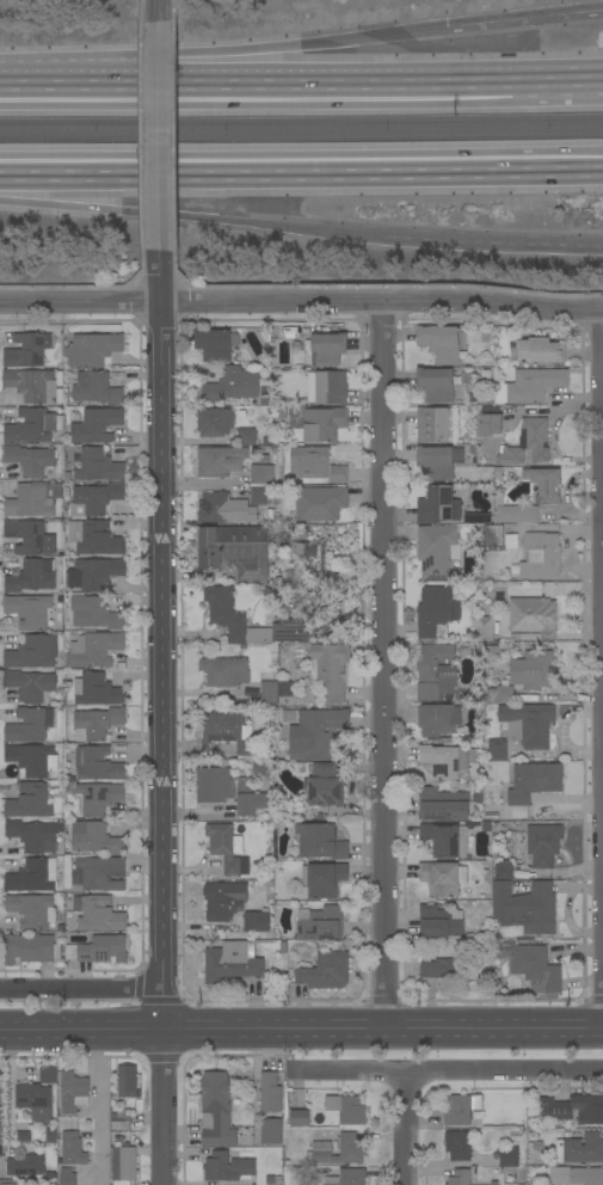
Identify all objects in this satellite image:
road: (160, 12)
road: (525, 18)
traffic signals: (448, 27)
road: (277, 47)
road: (559, 69)
road: (313, 73)
road: (55, 75)
railway: (301, 122)
railway: (301, 136)
road: (161, 139)
road: (301, 170)
road: (189, 217)
road: (490, 244)
road: (301, 302)
building: (439, 343)
building: (215, 344)
building: (92, 349)
building: (26, 350)
building: (325, 350)
building: (536, 350)
building: (466, 377)
building: (35, 385)
building: (232, 385)
building: (435, 385)
building: (530, 385)
building: (326, 387)
building: (96, 388)
building: (481, 400)
building: (242, 412)
building: (214, 422)
building: (488, 422)
building: (322, 423)
building: (96, 424)
building: (431, 424)
building: (32, 426)
building: (246, 436)
building: (525, 443)
building: (76, 449)
building: (76, 458)
building: (29, 460)
building: (219, 461)
building: (438, 461)
building: (308, 462)
building: (98, 466)
building: (266, 474)
building: (338, 474)
building: (66, 475)
building: (544, 484)
building: (258, 495)
building: (33, 499)
building: (93, 499)
building: (319, 503)
building: (437, 505)
building: (217, 508)
building: (516, 512)
building: (265, 518)
building: (511, 533)
building: (493, 535)
building: (27, 536)
building: (93, 538)
building: (229, 545)
building: (437, 551)
building: (312, 555)
building: (540, 555)
building: (252, 571)
building: (98, 572)
building: (31, 576)
building: (74, 579)
building: (548, 588)
building: (435, 610)
building: (31, 612)
building: (224, 612)
building: (94, 613)
building: (533, 616)
building: (484, 628)
building: (290, 631)
building: (258, 636)
road: (162, 643)
building: (93, 650)
building: (31, 652)
road: (382, 668)
building: (330, 669)
building: (432, 669)
building: (531, 669)
building: (224, 671)
building: (31, 686)
building: (284, 688)
building: (97, 690)
building: (248, 692)
building: (267, 693)
building: (500, 694)
building: (288, 716)
building: (437, 719)
building: (96, 723)
building: (527, 724)
building: (29, 725)
building: (227, 732)
building: (315, 733)
building: (497, 750)
building: (32, 759)
building: (444, 760)
building: (97, 763)
building: (258, 767)
building: (531, 784)
building: (213, 785)
building: (324, 785)
building: (244, 786)
building: (98, 797)
building: (476, 798)
building: (29, 800)
building: (248, 803)
building: (442, 804)
building: (490, 812)
building: (485, 827)
building: (32, 836)
building: (94, 839)
building: (444, 839)
building: (320, 841)
building: (543, 843)
building: (224, 846)
building: (503, 870)
building: (100, 872)
building: (32, 876)
building: (443, 877)
building: (322, 879)
building: (223, 901)
building: (524, 907)
building: (32, 910)
road: (602, 911)
building: (98, 914)
building: (256, 921)
building: (439, 921)
building: (320, 922)
building: (282, 946)
building: (30, 948)
building: (98, 950)
building: (230, 962)
building: (530, 964)
building: (445, 965)
building: (325, 971)
road: (80, 989)
road: (301, 1033)
road: (450, 1069)
building: (48, 1075)
building: (125, 1081)
building: (73, 1092)
building: (269, 1092)
road: (8, 1093)
building: (36, 1105)
building: (345, 1109)
building: (461, 1109)
road: (99, 1110)
road: (162, 1110)
building: (216, 1110)
building: (554, 1111)
building: (300, 1118)
building: (119, 1120)
building: (0, 1122)
road: (405, 1126)
building: (270, 1131)
building: (23, 1136)
building: (457, 1146)
building: (580, 1148)
building: (72, 1149)
building: (339, 1150)
building: (509, 1156)
building: (123, 1163)
building: (25, 1165)
building: (226, 1167)
building: (344, 1175)
building: (573, 1175)
building: (67, 1177)
building: (460, 1178)
building: (494, 1183)
building: (8, 1184)

